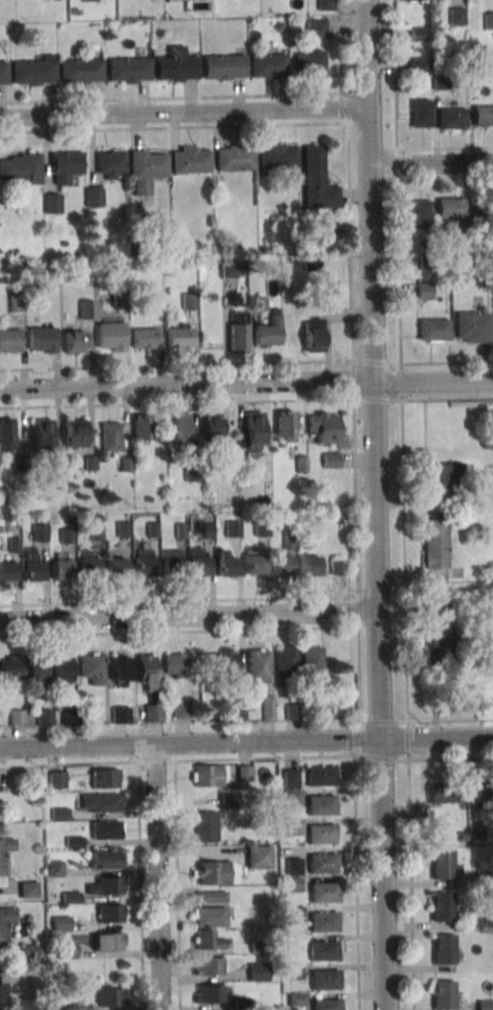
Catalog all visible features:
building: (414, 0)
building: (324, 4)
building: (75, 11)
building: (456, 16)
building: (488, 20)
building: (278, 27)
building: (315, 28)
building: (417, 34)
building: (309, 63)
building: (176, 65)
building: (224, 65)
building: (268, 65)
building: (418, 66)
building: (129, 69)
building: (79, 70)
building: (3, 72)
building: (32, 72)
building: (440, 83)
road: (170, 98)
building: (421, 112)
road: (183, 113)
building: (482, 115)
building: (451, 118)
road: (174, 128)
road: (444, 148)
building: (277, 156)
building: (234, 158)
building: (190, 161)
road: (430, 162)
building: (110, 165)
building: (64, 166)
building: (22, 168)
building: (144, 170)
building: (316, 178)
road: (445, 178)
road: (349, 179)
building: (93, 196)
building: (52, 202)
building: (482, 208)
building: (450, 210)
building: (418, 216)
building: (461, 242)
building: (489, 257)
building: (426, 261)
building: (157, 268)
building: (231, 271)
building: (424, 291)
building: (120, 297)
building: (333, 300)
building: (189, 301)
building: (258, 303)
building: (16, 304)
building: (87, 309)
building: (473, 326)
building: (433, 330)
building: (237, 332)
building: (267, 332)
building: (110, 335)
building: (313, 335)
building: (145, 337)
building: (180, 337)
building: (42, 338)
building: (10, 340)
building: (74, 341)
road: (377, 362)
road: (447, 363)
road: (176, 366)
road: (353, 380)
road: (432, 381)
road: (186, 386)
road: (447, 399)
road: (376, 400)
road: (176, 403)
building: (284, 425)
building: (141, 426)
building: (211, 426)
building: (180, 428)
building: (253, 428)
building: (323, 429)
building: (6, 432)
building: (75, 432)
building: (41, 434)
building: (110, 436)
building: (228, 455)
building: (330, 460)
building: (86, 462)
building: (19, 463)
building: (242, 463)
building: (301, 463)
building: (126, 464)
building: (246, 470)
building: (193, 472)
building: (56, 474)
building: (442, 476)
building: (313, 488)
road: (355, 497)
building: (148, 499)
road: (403, 504)
road: (372, 505)
building: (151, 528)
building: (233, 528)
building: (261, 528)
building: (122, 529)
building: (179, 530)
building: (207, 530)
building: (39, 531)
building: (96, 531)
building: (67, 535)
building: (289, 541)
building: (435, 543)
building: (13, 544)
building: (142, 561)
building: (197, 561)
building: (252, 561)
building: (171, 562)
building: (225, 563)
building: (87, 564)
building: (281, 564)
building: (31, 565)
building: (309, 565)
building: (338, 566)
building: (115, 567)
building: (60, 569)
building: (7, 570)
road: (179, 601)
building: (435, 608)
road: (358, 611)
road: (186, 616)
road: (178, 631)
building: (439, 643)
building: (225, 660)
building: (286, 661)
building: (312, 662)
building: (180, 665)
building: (259, 665)
building: (9, 667)
building: (92, 668)
building: (120, 669)
building: (63, 671)
building: (36, 672)
building: (146, 672)
road: (359, 675)
building: (267, 708)
building: (182, 709)
building: (321, 710)
building: (153, 712)
building: (293, 712)
building: (237, 713)
building: (120, 714)
building: (70, 716)
building: (16, 717)
building: (44, 717)
road: (426, 721)
road: (356, 739)
road: (435, 740)
road: (189, 746)
road: (246, 758)
building: (244, 772)
building: (208, 774)
building: (321, 775)
building: (104, 777)
building: (289, 778)
building: (57, 779)
building: (484, 790)
building: (444, 792)
building: (291, 798)
building: (263, 799)
building: (226, 800)
building: (99, 802)
building: (320, 804)
building: (59, 814)
building: (204, 826)
building: (294, 826)
building: (105, 830)
building: (475, 832)
building: (321, 835)
building: (461, 837)
building: (73, 842)
building: (4, 850)
building: (258, 857)
building: (105, 859)
building: (322, 863)
building: (442, 864)
building: (293, 865)
building: (54, 868)
building: (215, 872)
road: (155, 878)
building: (483, 879)
road: (355, 883)
building: (106, 885)
road: (139, 885)
road: (176, 885)
building: (292, 885)
building: (27, 889)
building: (323, 892)
building: (210, 896)
building: (69, 897)
building: (442, 906)
building: (293, 912)
building: (108, 913)
building: (209, 916)
building: (267, 919)
building: (323, 921)
building: (5, 922)
building: (60, 923)
building: (206, 939)
building: (107, 941)
building: (258, 947)
building: (284, 948)
building: (443, 949)
building: (67, 950)
building: (323, 950)
building: (29, 951)
building: (207, 965)
building: (258, 971)
building: (294, 972)
building: (325, 979)
building: (1, 991)
building: (208, 994)
building: (443, 994)
building: (109, 996)
building: (296, 999)
building: (241, 1004)
building: (325, 1005)
building: (484, 1005)
building: (80, 1006)

